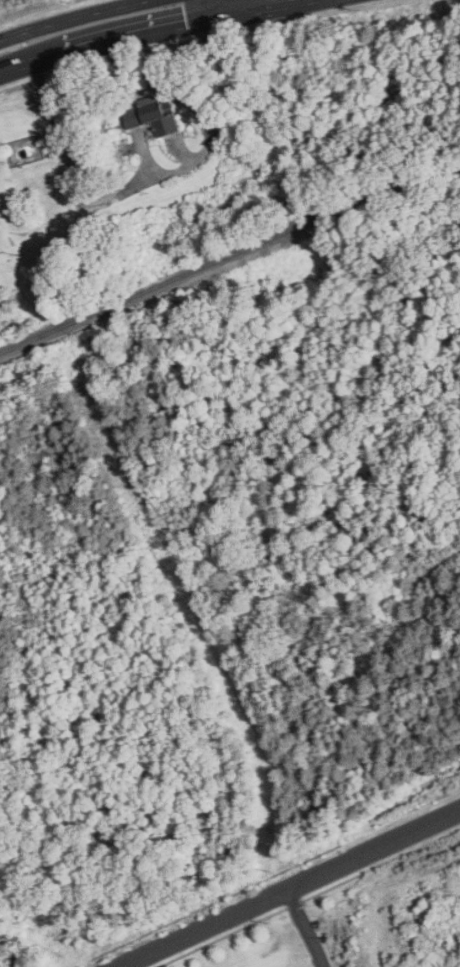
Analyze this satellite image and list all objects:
road: (240, 8)
road: (197, 12)
traffic signals: (243, 17)
road: (78, 18)
traffic signals: (201, 25)
road: (164, 31)
building: (154, 115)
road: (142, 188)
railway: (227, 256)
road: (287, 887)
road: (305, 927)

